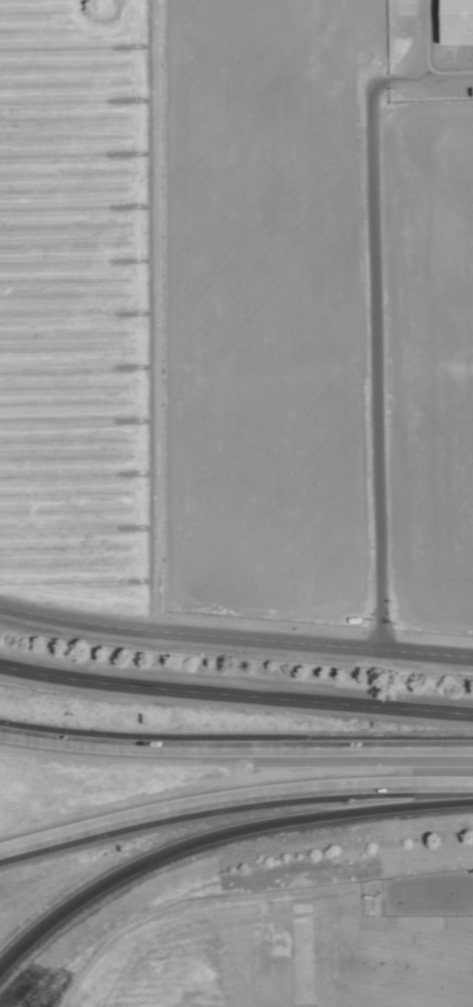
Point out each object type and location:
building: (458, 22)
road: (423, 41)
road: (448, 80)
road: (374, 342)
road: (235, 638)
road: (206, 693)
road: (443, 713)
road: (236, 746)
road: (233, 798)
road: (218, 836)
road: (446, 883)
airport: (279, 955)

